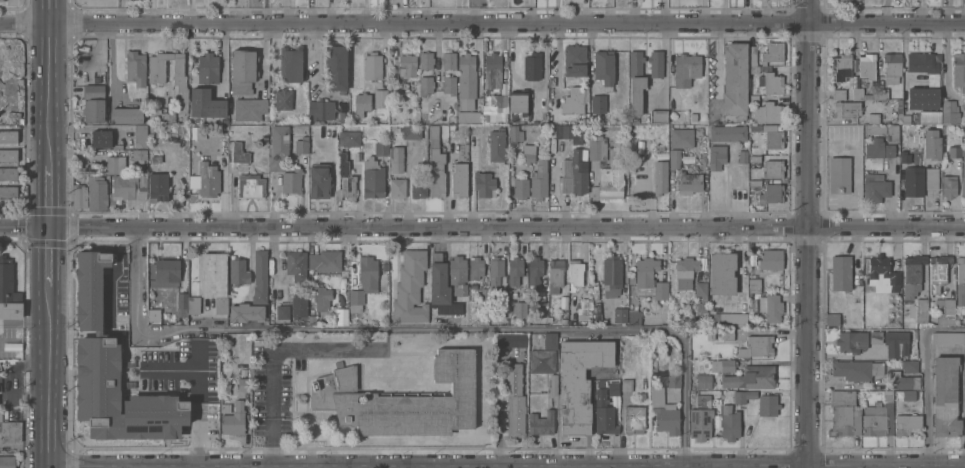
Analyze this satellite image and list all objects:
building: (1, 1)
parking lot: (100, 3)
road: (482, 24)
building: (772, 52)
building: (751, 55)
building: (426, 61)
building: (448, 61)
building: (575, 61)
building: (656, 64)
building: (290, 65)
building: (867, 66)
building: (372, 67)
building: (407, 67)
building: (532, 67)
building: (841, 67)
building: (892, 67)
building: (923, 67)
building: (157, 68)
building: (135, 69)
building: (335, 69)
building: (604, 69)
building: (686, 70)
building: (753, 70)
building: (958, 70)
building: (207, 72)
building: (243, 72)
building: (466, 77)
building: (496, 81)
building: (734, 81)
road: (50, 82)
building: (180, 83)
building: (635, 83)
building: (773, 84)
building: (425, 86)
building: (449, 86)
building: (882, 94)
building: (862, 95)
building: (594, 98)
building: (380, 99)
building: (922, 99)
building: (219, 100)
building: (283, 100)
building: (574, 102)
building: (518, 103)
building: (93, 104)
building: (205, 104)
building: (361, 105)
building: (249, 110)
building: (321, 111)
building: (858, 111)
building: (949, 113)
building: (768, 114)
building: (126, 116)
building: (343, 117)
building: (471, 117)
building: (658, 117)
building: (693, 117)
building: (929, 118)
building: (905, 119)
building: (3, 120)
building: (883, 131)
building: (964, 131)
building: (411, 132)
building: (565, 132)
building: (698, 132)
building: (515, 134)
building: (728, 134)
building: (140, 135)
building: (329, 135)
building: (8, 137)
building: (349, 137)
building: (773, 137)
building: (101, 139)
building: (681, 139)
building: (496, 145)
building: (931, 145)
building: (301, 146)
building: (278, 147)
building: (597, 148)
building: (381, 149)
building: (878, 149)
building: (954, 153)
building: (239, 154)
building: (528, 154)
building: (8, 156)
building: (716, 157)
building: (743, 157)
building: (678, 159)
building: (905, 159)
building: (397, 161)
building: (126, 163)
building: (435, 165)
building: (774, 170)
building: (8, 174)
building: (574, 175)
building: (840, 176)
parking lot: (859, 176)
building: (660, 178)
building: (963, 178)
building: (373, 179)
building: (208, 180)
building: (459, 180)
building: (611, 180)
building: (931, 180)
building: (319, 181)
building: (345, 181)
building: (539, 181)
building: (689, 181)
building: (291, 182)
building: (912, 183)
building: (157, 184)
building: (484, 185)
building: (251, 187)
building: (949, 187)
building: (128, 188)
building: (397, 189)
building: (418, 189)
building: (520, 189)
building: (876, 191)
building: (8, 193)
building: (96, 194)
building: (771, 194)
road: (50, 197)
building: (79, 197)
road: (482, 226)
traffic signals: (50, 229)
road: (807, 233)
road: (49, 257)
building: (770, 260)
building: (325, 262)
building: (296, 266)
building: (475, 269)
building: (166, 271)
building: (961, 271)
building: (535, 272)
building: (938, 272)
building: (238, 273)
building: (685, 273)
building: (841, 273)
building: (722, 274)
building: (213, 275)
building: (458, 275)
building: (575, 275)
building: (881, 275)
building: (555, 276)
building: (912, 276)
building: (611, 277)
building: (260, 278)
building: (497, 278)
building: (648, 280)
building: (364, 283)
building: (518, 286)
building: (754, 286)
building: (89, 288)
building: (410, 288)
building: (441, 288)
building: (8, 295)
building: (701, 296)
building: (322, 299)
building: (182, 304)
building: (221, 306)
building: (298, 306)
building: (193, 308)
building: (583, 308)
building: (621, 309)
building: (773, 309)
building: (921, 311)
building: (282, 312)
building: (245, 313)
building: (947, 314)
building: (153, 315)
building: (959, 316)
building: (341, 317)
building: (634, 319)
building: (730, 320)
building: (835, 320)
parking lot: (12, 324)
parking lot: (12, 332)
road: (424, 332)
building: (728, 335)
building: (875, 338)
building: (946, 339)
building: (963, 339)
building: (511, 340)
building: (550, 342)
building: (851, 342)
building: (896, 344)
building: (756, 347)
road: (271, 359)
building: (542, 362)
building: (722, 366)
building: (909, 366)
parking lot: (299, 369)
road: (176, 370)
building: (855, 370)
road: (49, 377)
building: (751, 378)
road: (928, 380)
building: (579, 382)
building: (674, 382)
building: (704, 382)
building: (901, 382)
building: (243, 385)
building: (553, 385)
building: (626, 386)
building: (613, 389)
building: (743, 397)
building: (945, 397)
building: (514, 400)
building: (403, 401)
building: (702, 402)
building: (903, 403)
building: (225, 405)
building: (767, 406)
road: (964, 407)
building: (603, 414)
building: (663, 414)
building: (843, 415)
building: (1, 416)
building: (112, 416)
road: (201, 418)
building: (878, 418)
building: (633, 420)
building: (233, 421)
building: (540, 424)
building: (699, 424)
building: (729, 424)
building: (907, 425)
building: (10, 432)
building: (7, 462)
road: (507, 466)
road: (277, 467)
road: (334, 467)

